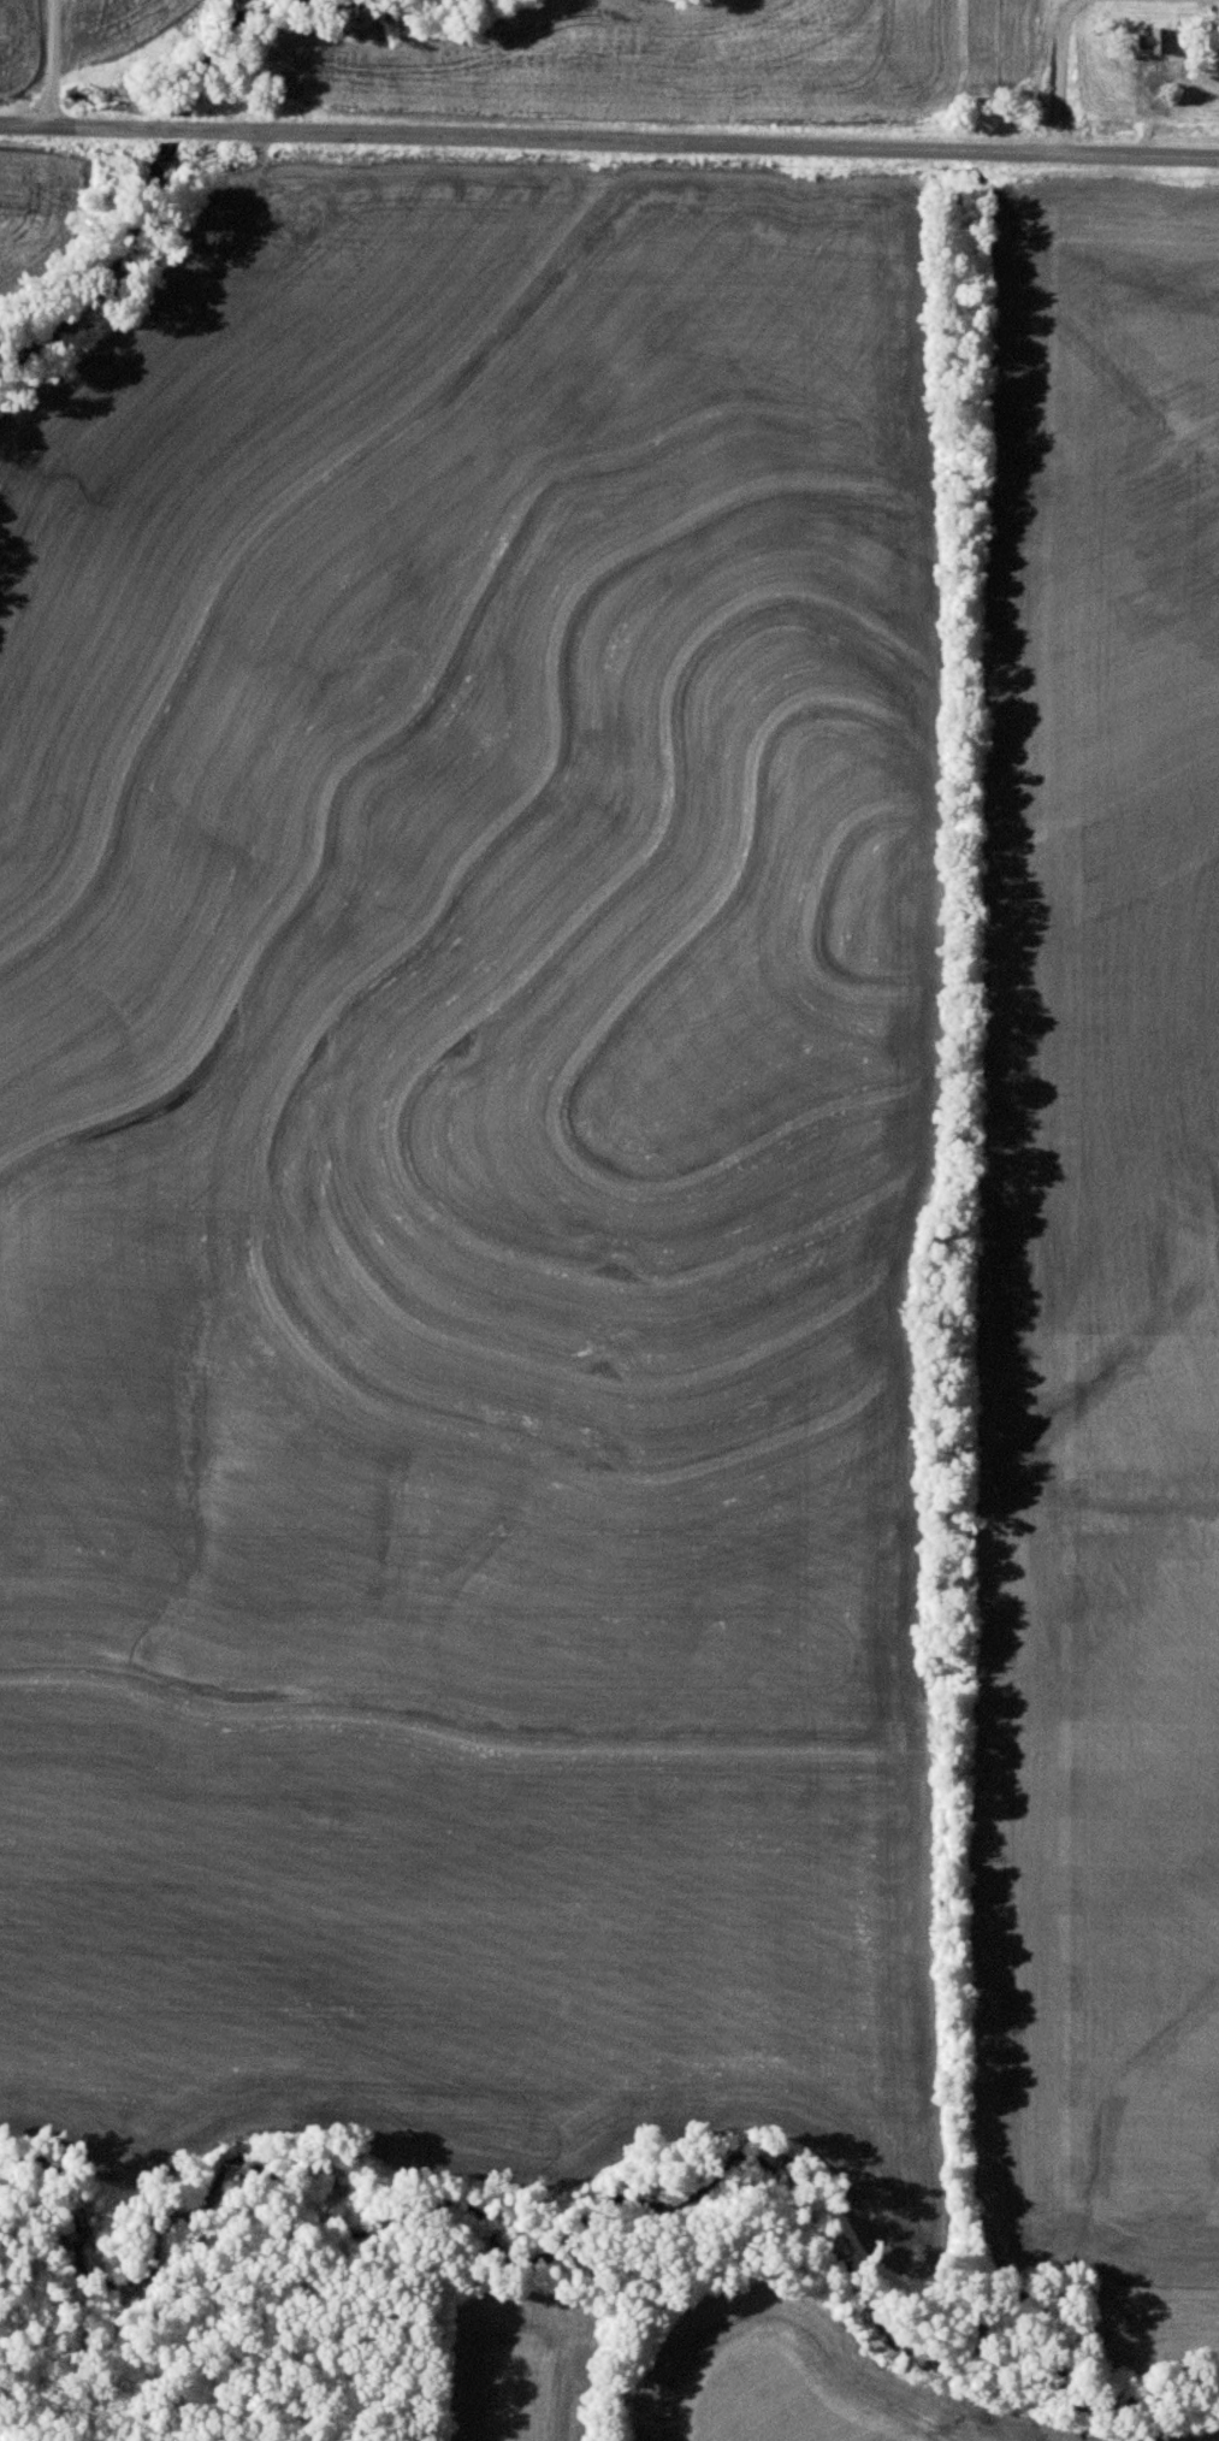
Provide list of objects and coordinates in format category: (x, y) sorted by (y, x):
road: (1185, 2)
building: (1178, 26)
building: (1148, 40)
road: (52, 60)
road: (1060, 72)
road: (609, 141)

